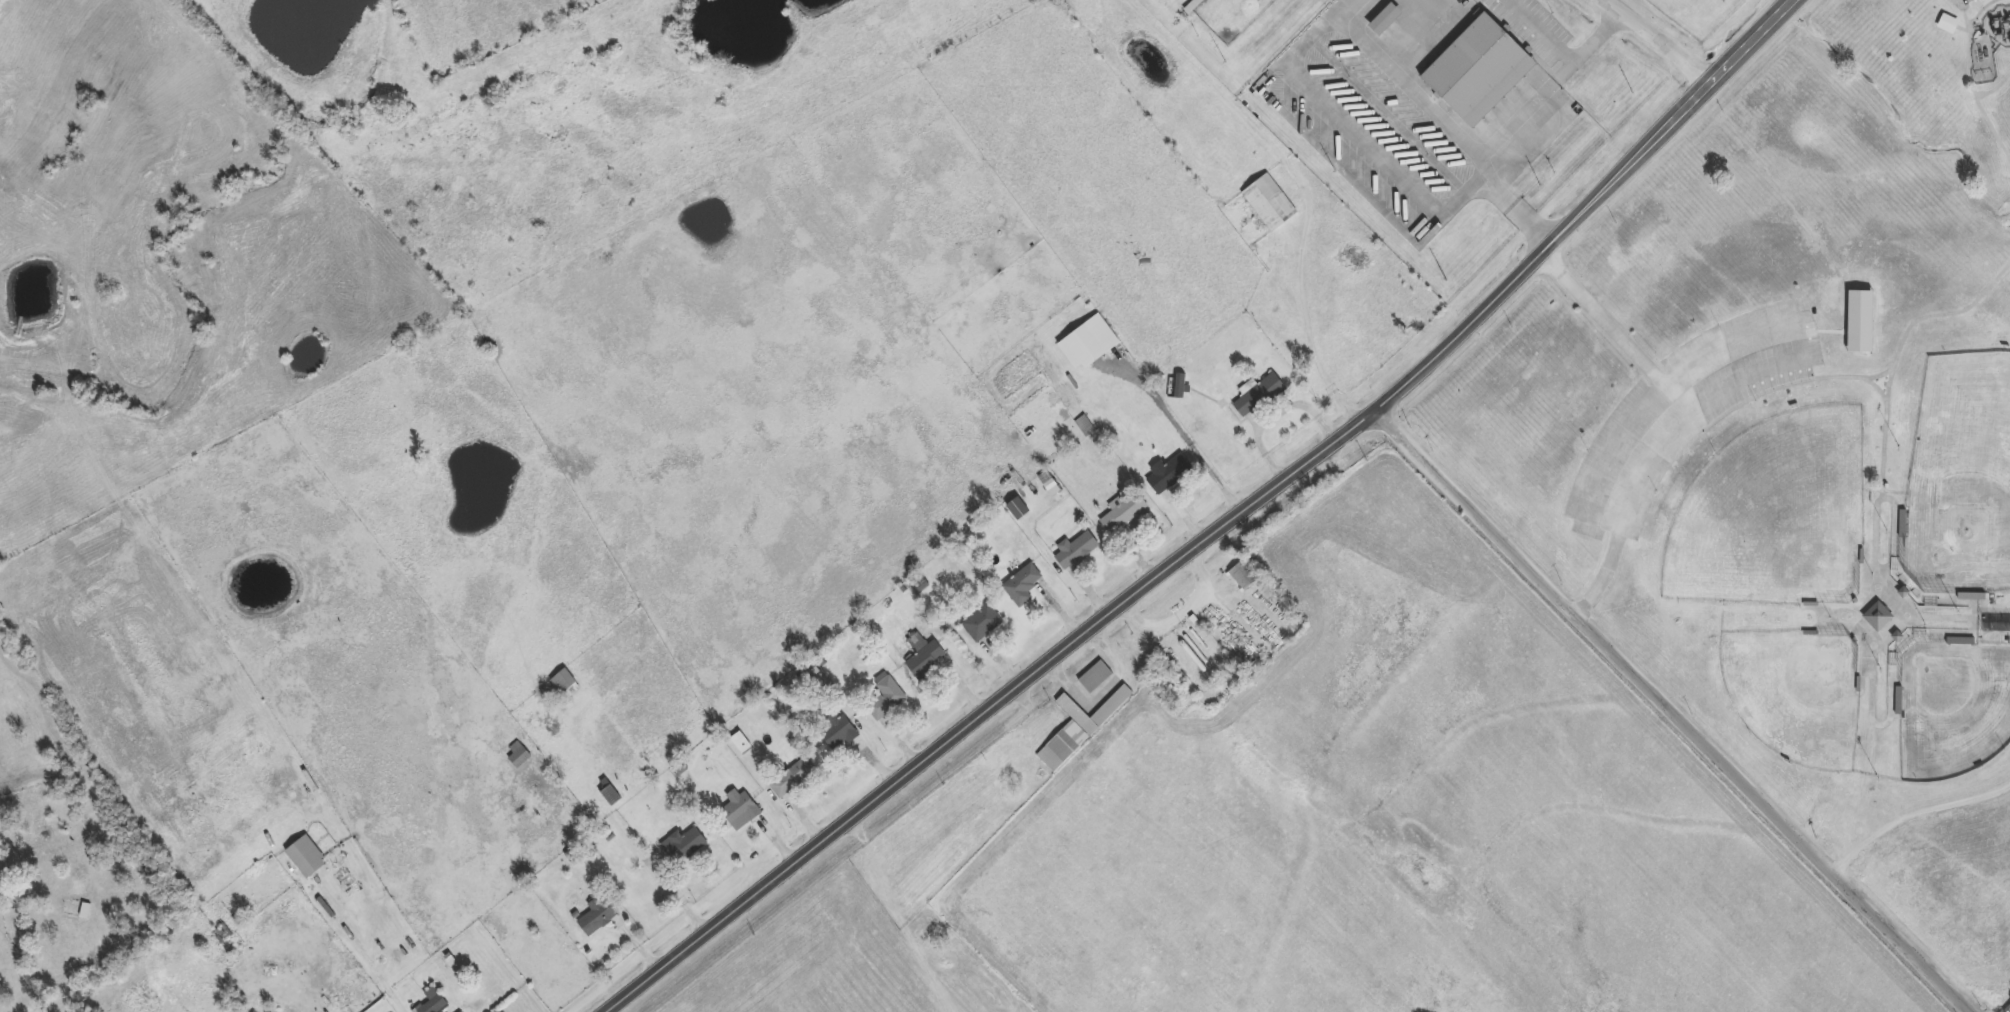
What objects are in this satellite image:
building: (1193, 6)
building: (1946, 24)
road: (1658, 41)
building: (1476, 68)
road: (1555, 84)
road: (1451, 120)
road: (1636, 162)
building: (1857, 322)
road: (1309, 327)
building: (1088, 343)
building: (1179, 387)
building: (1257, 396)
road: (1685, 418)
road: (1188, 436)
building: (1168, 475)
building: (1122, 514)
building: (1075, 551)
building: (1243, 577)
building: (1023, 585)
road: (1186, 610)
building: (1878, 617)
building: (929, 661)
road: (1042, 669)
building: (1095, 677)
building: (564, 684)
building: (887, 697)
road: (1677, 711)
building: (1080, 729)
building: (838, 735)
building: (742, 744)
building: (517, 755)
building: (793, 779)
building: (610, 797)
building: (741, 810)
building: (684, 844)
building: (306, 856)
road: (902, 914)
building: (598, 916)
building: (433, 1001)
building: (458, 1011)

